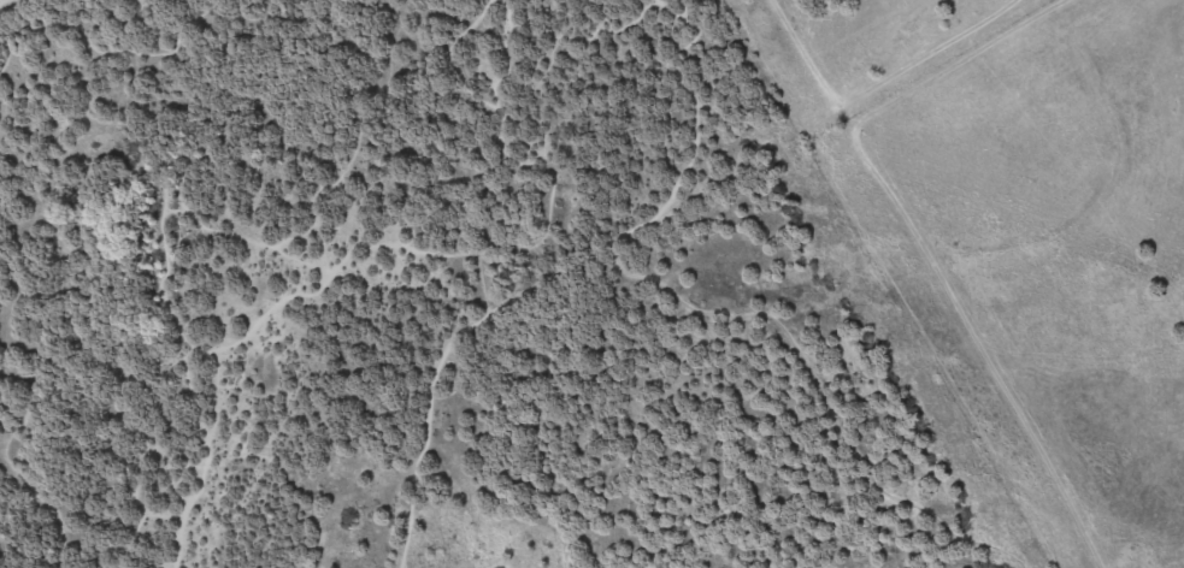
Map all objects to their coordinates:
road: (266, 181)
road: (10, 395)
road: (47, 501)

